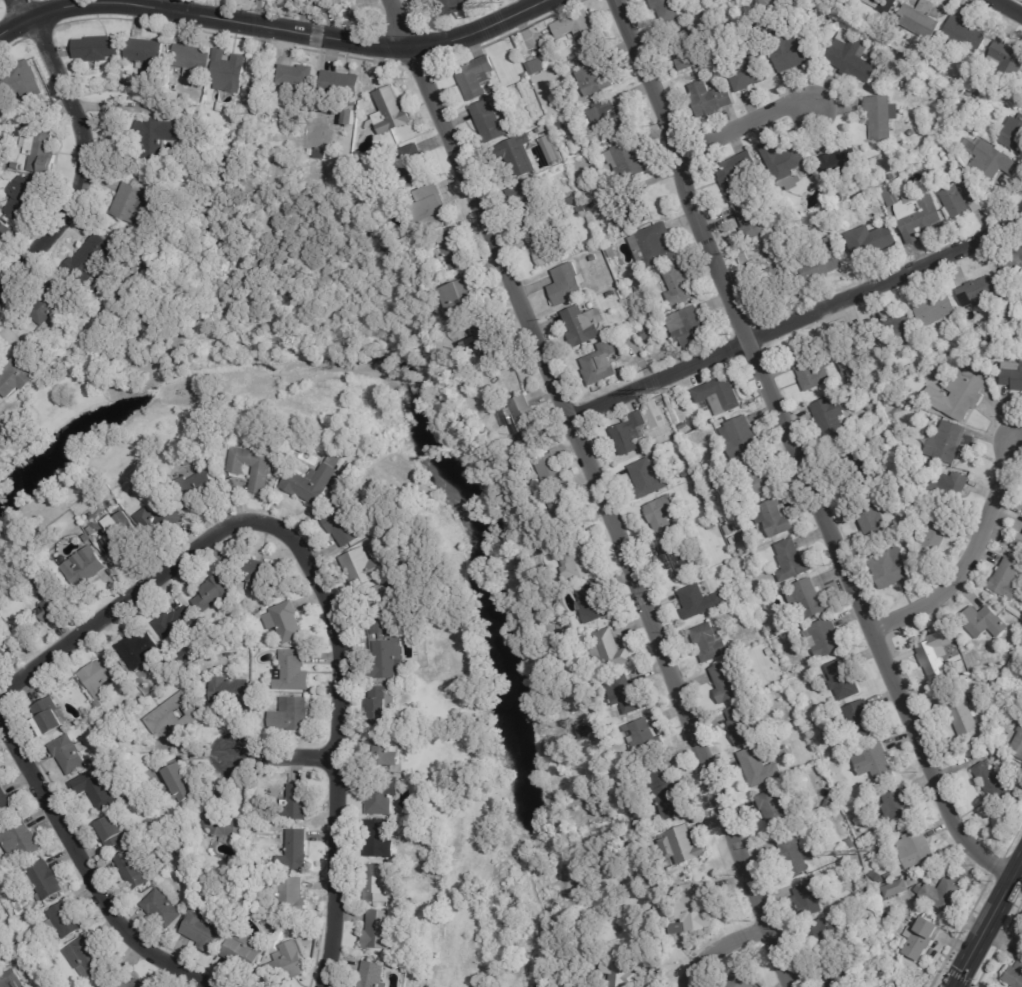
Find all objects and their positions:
park: (1019, 1)
building: (762, 3)
building: (888, 3)
building: (852, 4)
building: (308, 5)
building: (330, 5)
power tower: (496, 5)
road: (1009, 6)
road: (21, 7)
building: (452, 7)
road: (176, 8)
building: (668, 10)
building: (922, 18)
building: (831, 21)
building: (578, 27)
road: (268, 30)
building: (966, 33)
building: (97, 48)
building: (789, 50)
building: (146, 53)
building: (690, 53)
building: (852, 57)
building: (1009, 59)
building: (192, 61)
building: (536, 66)
building: (228, 71)
building: (749, 72)
building: (595, 74)
building: (475, 77)
building: (295, 78)
building: (20, 80)
building: (337, 91)
building: (969, 93)
building: (976, 93)
building: (710, 99)
building: (198, 100)
building: (969, 102)
building: (976, 102)
building: (390, 111)
building: (0, 114)
building: (606, 116)
building: (882, 116)
building: (350, 117)
building: (490, 121)
building: (29, 125)
road: (742, 129)
building: (1013, 135)
building: (155, 138)
building: (389, 142)
building: (550, 149)
building: (40, 151)
building: (311, 152)
building: (520, 155)
building: (627, 157)
building: (991, 159)
road: (81, 162)
building: (785, 163)
building: (842, 164)
building: (412, 166)
building: (736, 174)
building: (963, 176)
building: (908, 185)
building: (22, 195)
building: (960, 198)
building: (573, 200)
building: (524, 203)
building: (134, 205)
building: (592, 205)
building: (433, 206)
building: (581, 209)
building: (915, 214)
building: (616, 218)
building: (821, 218)
building: (754, 219)
building: (825, 225)
building: (3, 231)
building: (420, 235)
building: (872, 243)
building: (542, 245)
building: (654, 245)
building: (152, 246)
building: (454, 249)
building: (612, 251)
building: (594, 257)
building: (92, 259)
building: (147, 260)
building: (825, 260)
building: (781, 277)
building: (567, 284)
building: (678, 285)
building: (979, 292)
building: (463, 299)
building: (46, 307)
building: (936, 309)
road: (799, 323)
building: (583, 324)
building: (688, 327)
building: (901, 328)
building: (646, 334)
building: (979, 335)
building: (992, 335)
building: (487, 339)
building: (954, 354)
building: (852, 357)
building: (602, 362)
building: (972, 362)
building: (813, 368)
building: (912, 369)
building: (21, 373)
building: (1013, 375)
building: (882, 383)
power tower: (662, 392)
building: (965, 394)
building: (720, 395)
building: (899, 405)
building: (752, 408)
building: (830, 418)
building: (527, 421)
building: (684, 426)
building: (717, 426)
building: (673, 430)
building: (631, 432)
building: (740, 439)
building: (947, 442)
road: (796, 454)
building: (192, 455)
building: (263, 469)
building: (859, 470)
building: (552, 471)
building: (686, 474)
building: (762, 474)
building: (648, 478)
building: (314, 480)
building: (697, 484)
building: (195, 489)
building: (951, 490)
road: (595, 491)
building: (562, 511)
building: (662, 515)
building: (727, 518)
building: (775, 519)
building: (876, 520)
building: (164, 523)
building: (713, 525)
building: (342, 526)
building: (938, 532)
building: (119, 536)
building: (734, 541)
building: (1020, 541)
road: (966, 557)
building: (677, 558)
building: (792, 560)
building: (578, 563)
building: (364, 567)
building: (84, 568)
building: (891, 568)
building: (257, 575)
building: (1008, 579)
building: (383, 580)
building: (746, 595)
building: (211, 596)
building: (807, 600)
road: (126, 602)
building: (696, 602)
building: (594, 604)
building: (56, 607)
building: (287, 622)
building: (985, 622)
building: (174, 623)
building: (827, 639)
building: (247, 643)
building: (711, 643)
building: (385, 645)
building: (138, 650)
building: (610, 652)
building: (770, 652)
building: (2, 653)
building: (936, 654)
building: (184, 659)
building: (984, 667)
building: (292, 672)
building: (100, 676)
building: (843, 681)
building: (997, 681)
building: (730, 684)
building: (258, 685)
building: (230, 692)
building: (626, 696)
building: (976, 703)
building: (381, 706)
building: (173, 715)
building: (291, 715)
building: (963, 716)
building: (50, 718)
building: (863, 720)
building: (743, 725)
building: (814, 725)
building: (580, 726)
building: (593, 729)
building: (396, 734)
building: (642, 737)
road: (338, 741)
building: (1018, 746)
building: (993, 752)
building: (387, 753)
building: (68, 755)
road: (284, 759)
building: (877, 763)
building: (759, 767)
building: (179, 785)
building: (875, 788)
building: (995, 788)
building: (95, 789)
building: (667, 791)
building: (382, 796)
building: (131, 797)
building: (829, 804)
building: (6, 805)
building: (294, 805)
building: (775, 809)
building: (849, 809)
building: (900, 809)
building: (222, 821)
building: (113, 832)
building: (380, 840)
building: (21, 843)
building: (681, 846)
building: (916, 850)
building: (295, 852)
power tower: (853, 852)
building: (793, 855)
road: (88, 871)
building: (132, 871)
building: (878, 877)
building: (890, 877)
building: (45, 881)
building: (378, 884)
building: (898, 889)
building: (866, 891)
building: (947, 892)
building: (290, 897)
building: (809, 899)
building: (870, 902)
building: (162, 909)
building: (693, 910)
building: (17, 918)
building: (64, 922)
building: (19, 925)
road: (990, 927)
building: (204, 930)
building: (380, 931)
building: (822, 937)
building: (922, 939)
building: (57, 941)
road: (720, 949)
building: (241, 955)
building: (86, 959)
building: (280, 962)
building: (42, 964)
building: (0, 968)
building: (884, 973)
building: (1013, 973)
building: (367, 974)
building: (832, 974)
building: (617, 975)
building: (10, 980)
building: (739, 980)
building: (123, 982)
building: (55, 985)

